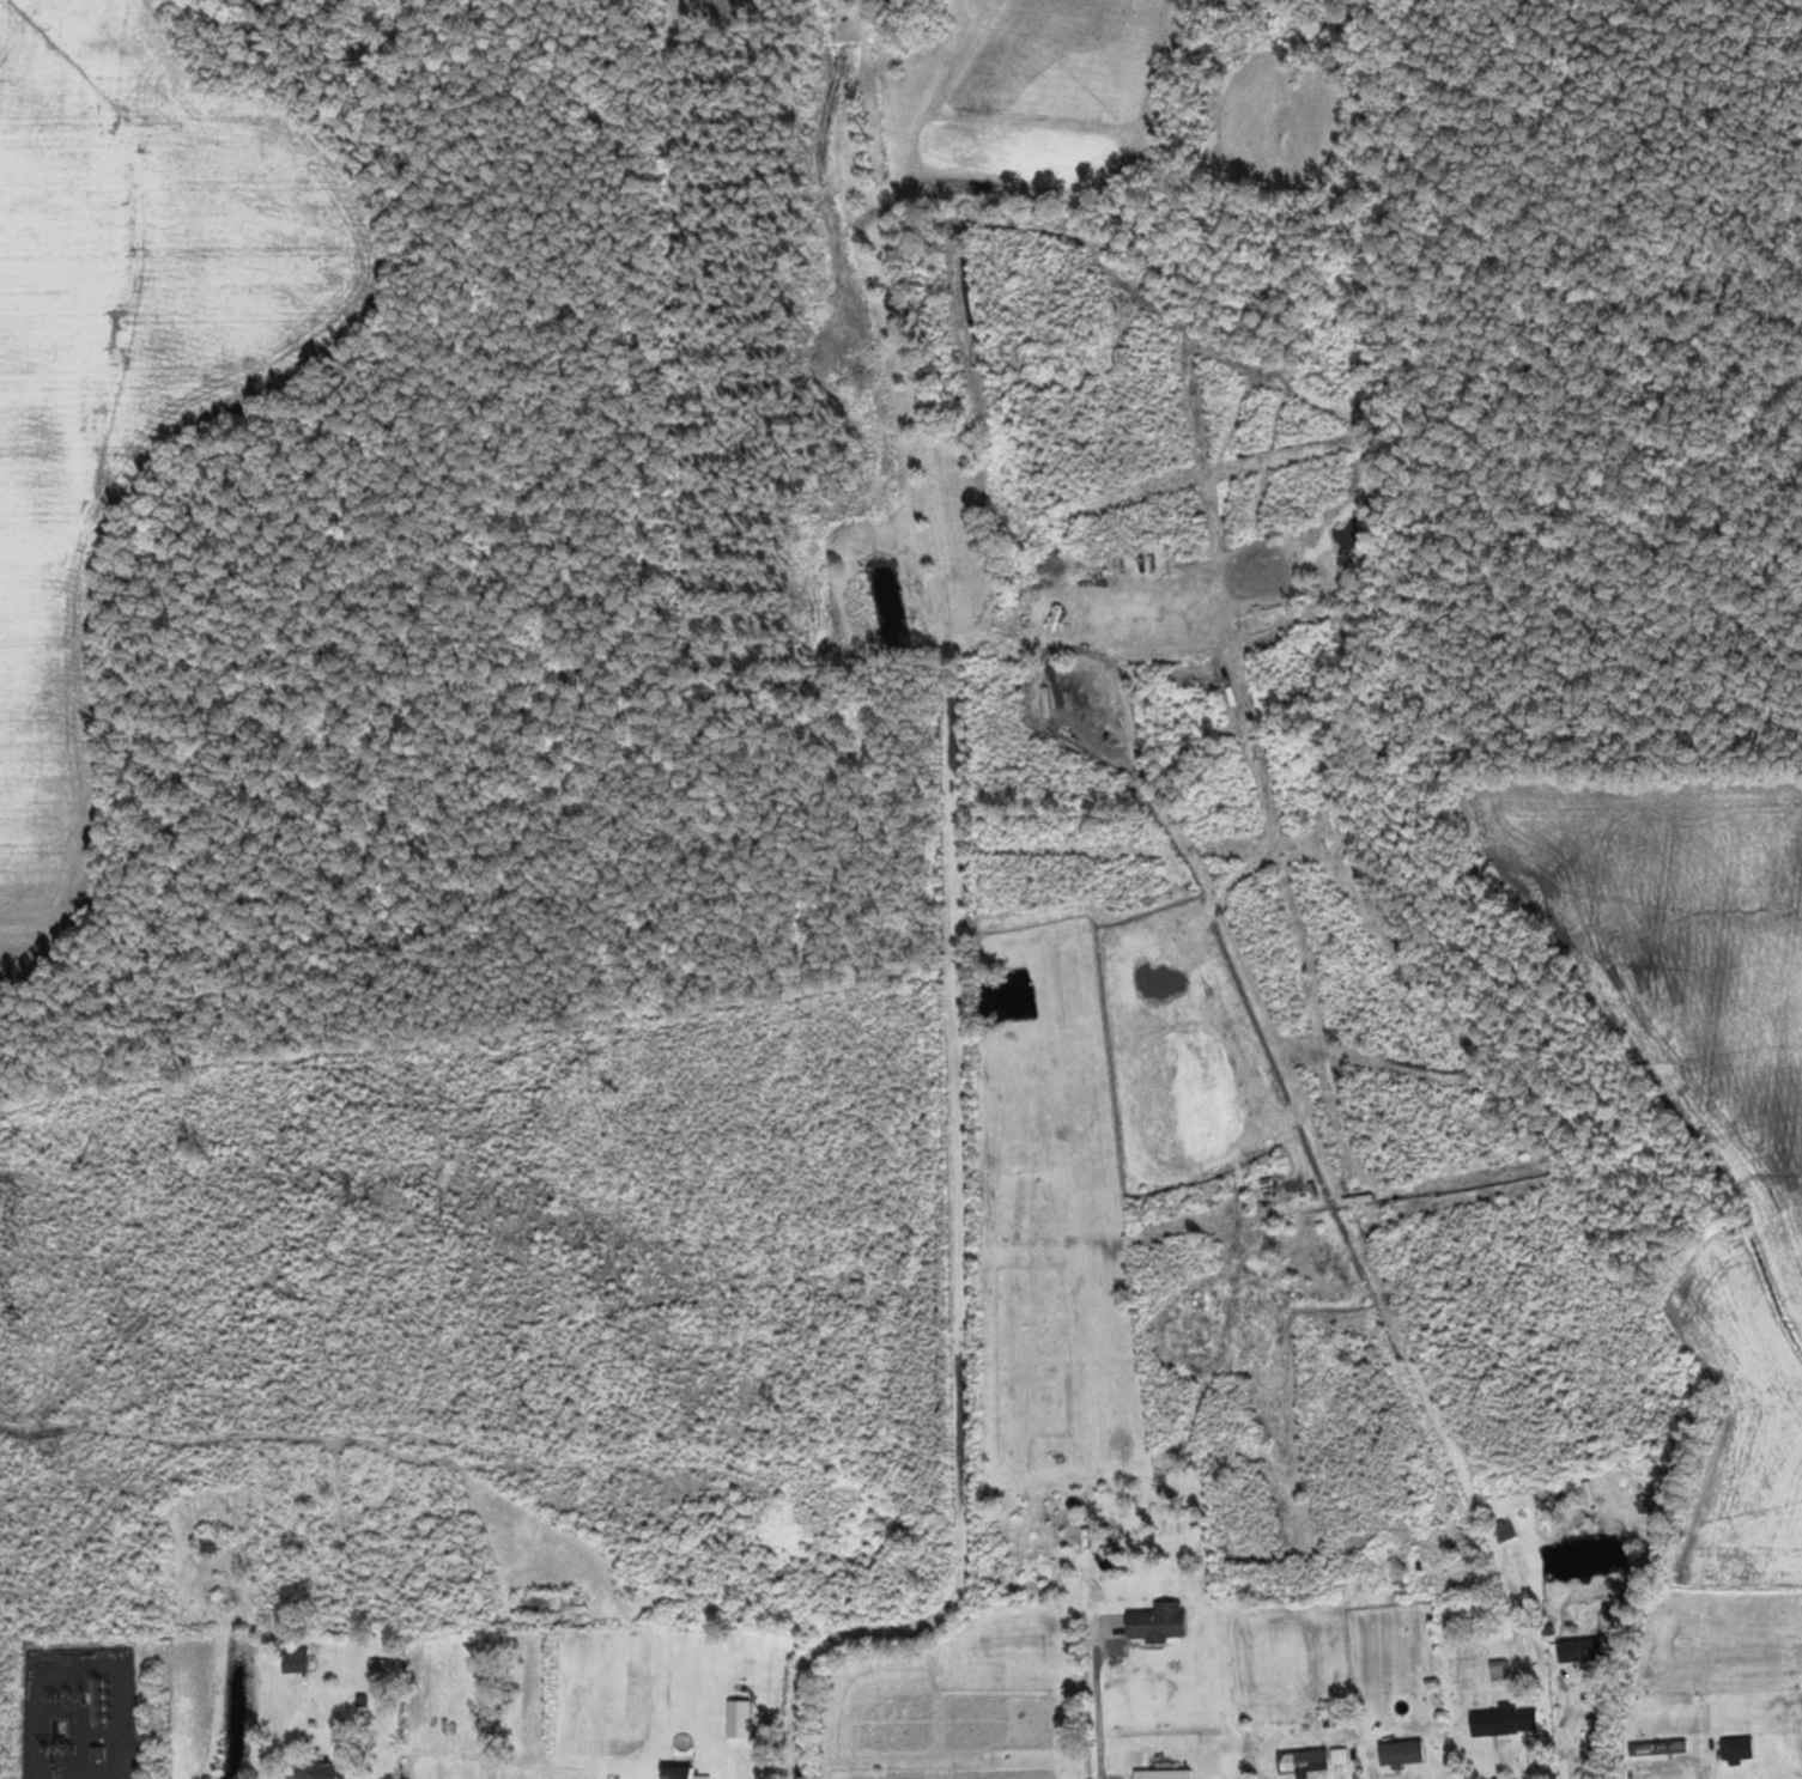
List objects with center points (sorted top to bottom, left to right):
building: (210, 1542)
building: (1161, 1621)
building: (297, 1659)
power substation: (79, 1714)
building: (1504, 1720)
building: (1736, 1748)
building: (97, 1751)
building: (1302, 1760)
building: (324, 1771)
building: (686, 1772)
building: (1166, 1774)

